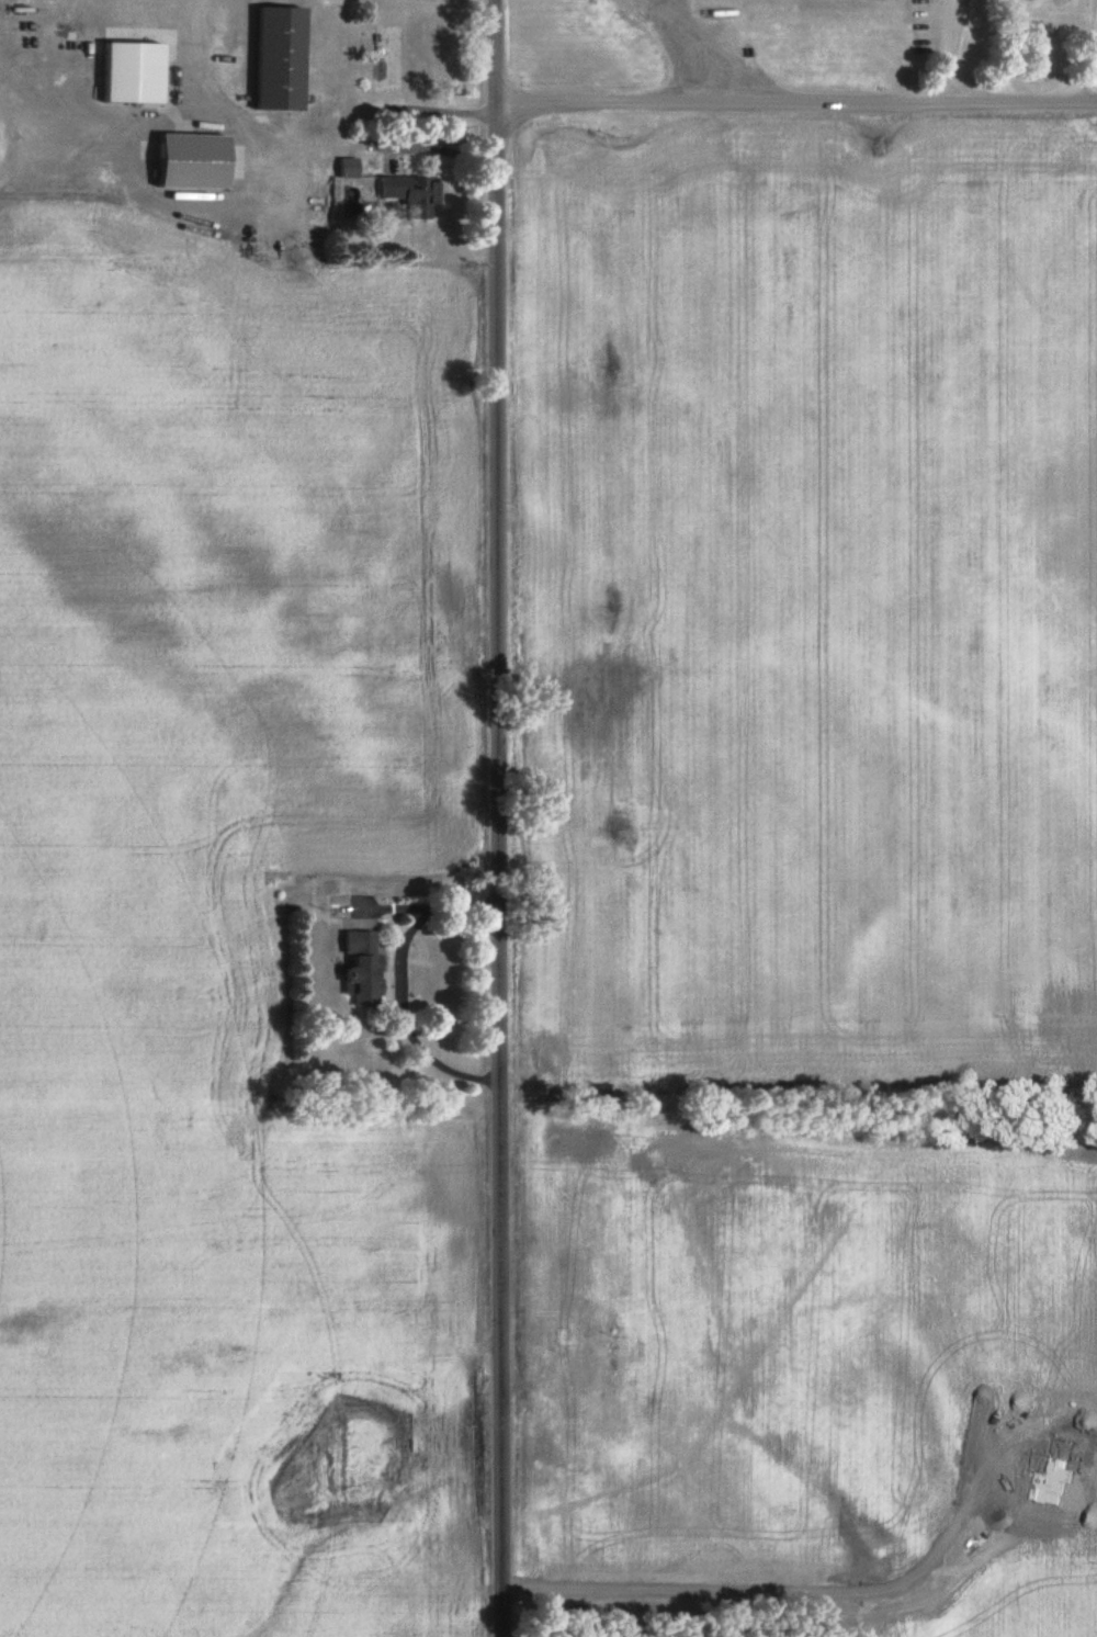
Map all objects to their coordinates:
building: (137, 70)
road: (796, 100)
building: (194, 158)
building: (352, 166)
building: (418, 191)
road: (497, 817)
building: (367, 968)

